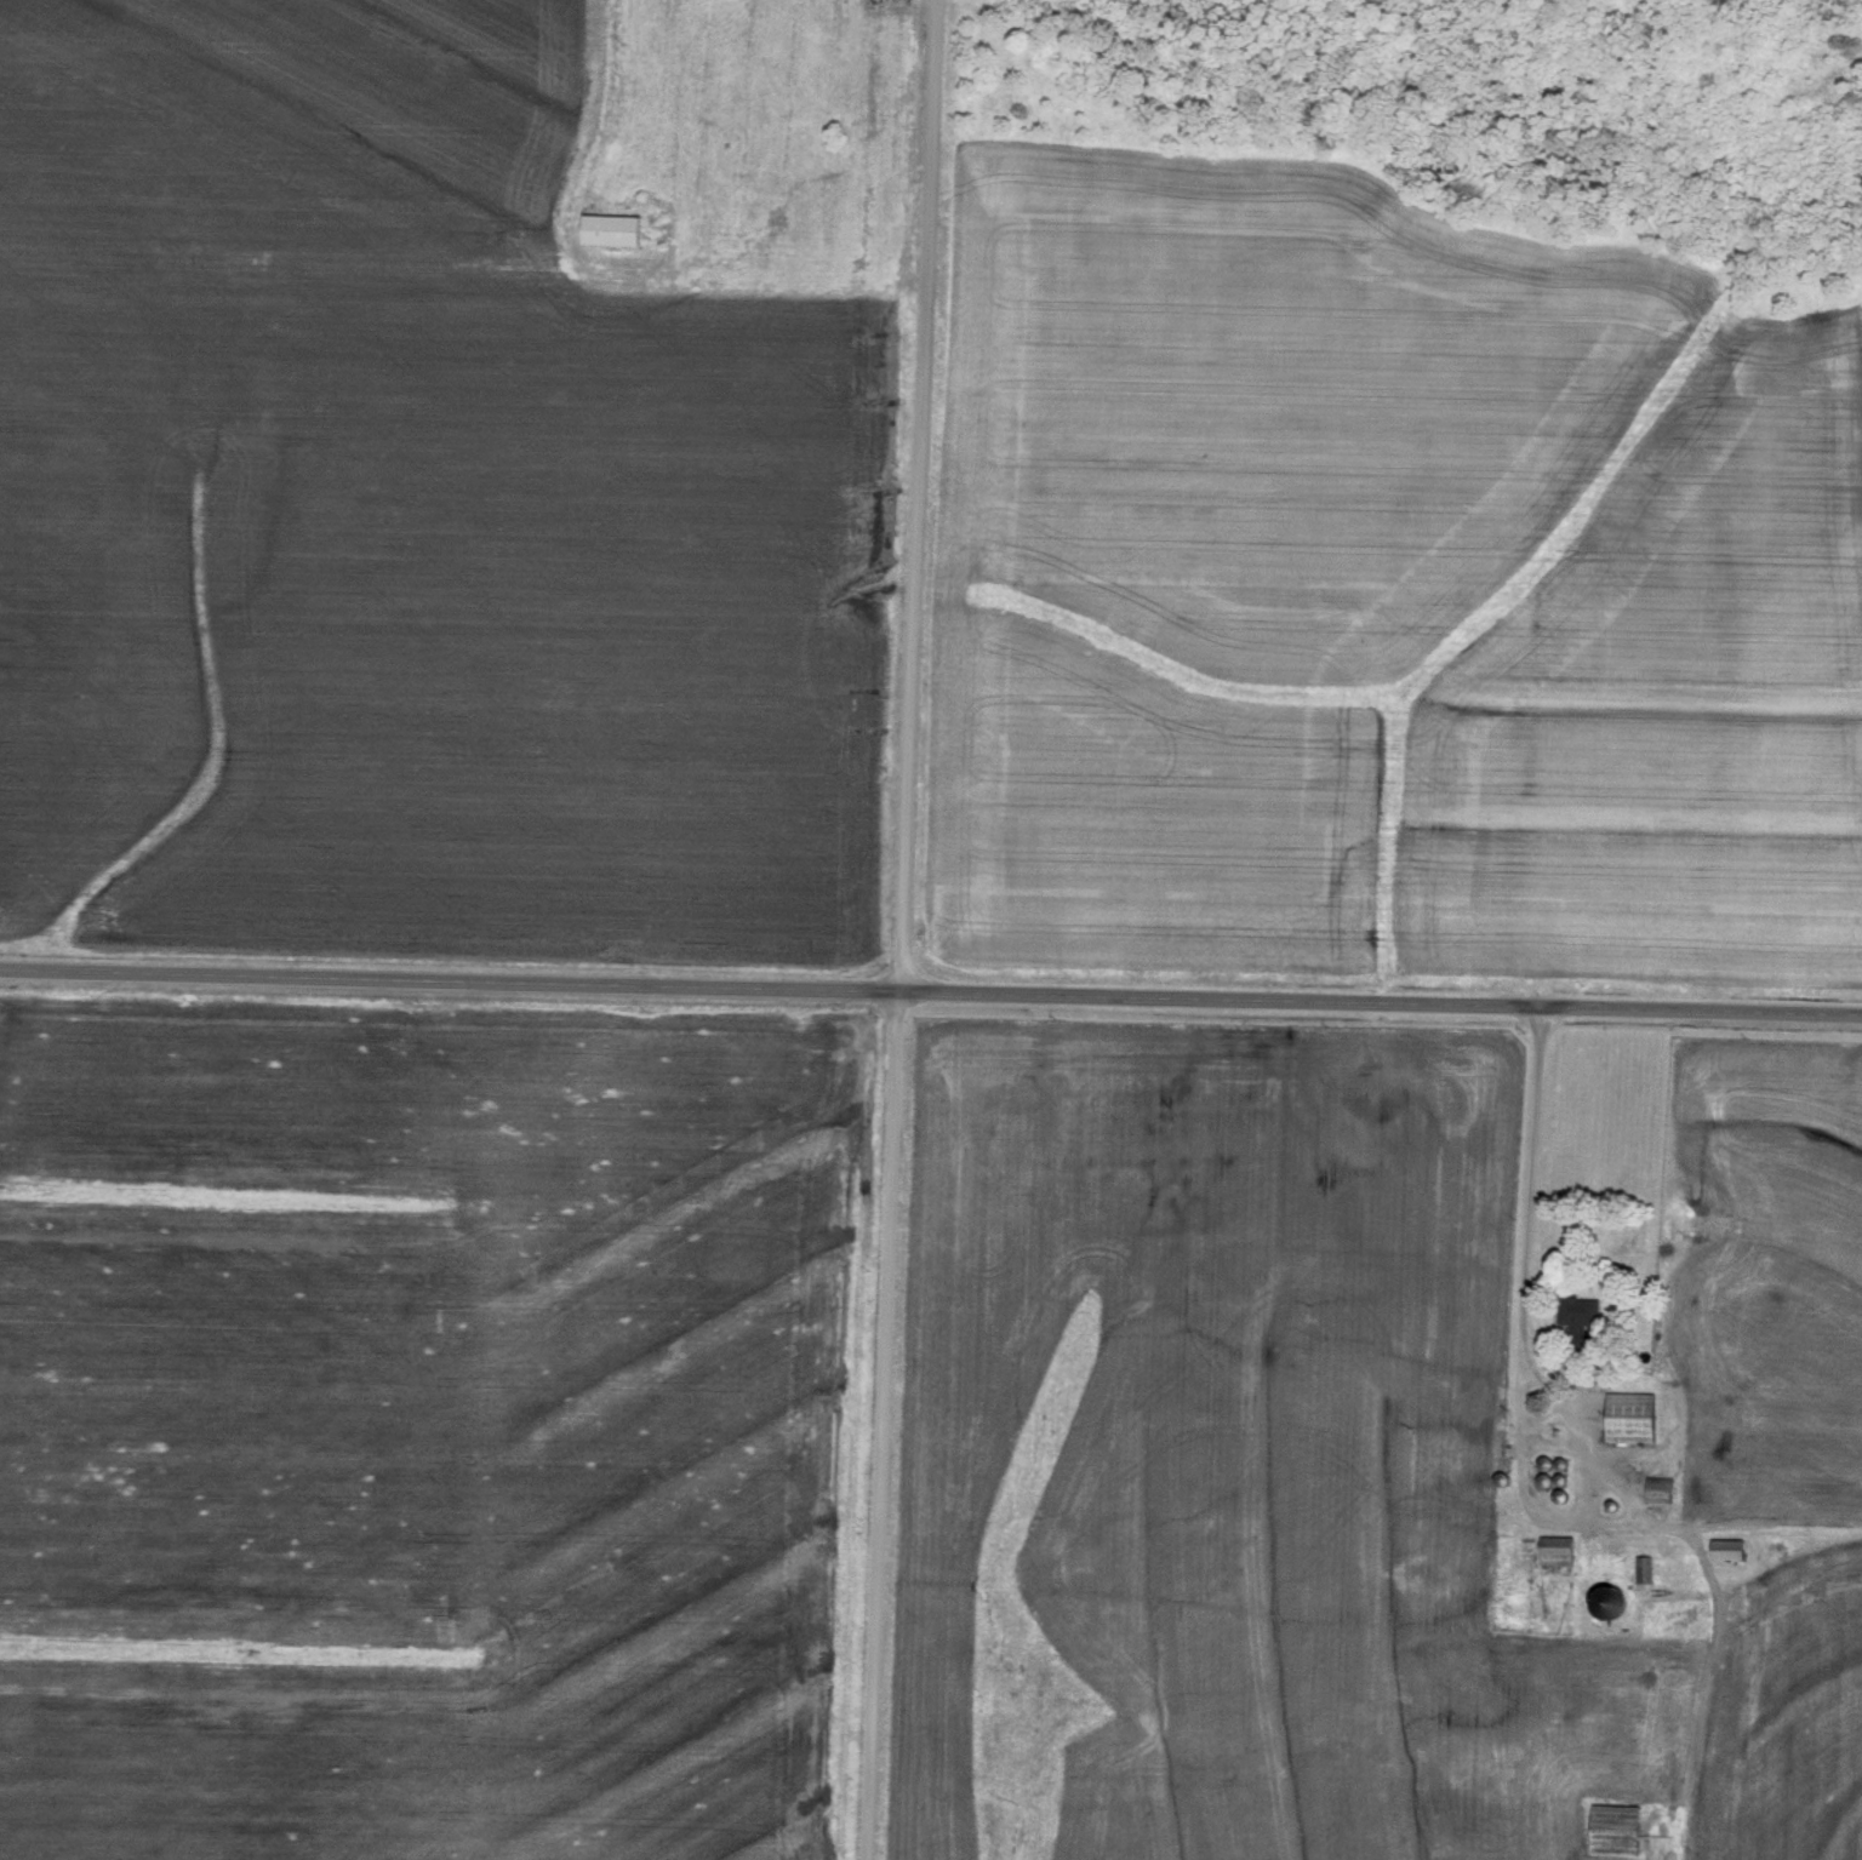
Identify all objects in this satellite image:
building: (611, 230)
road: (896, 929)
road: (931, 992)
building: (1578, 1322)
road: (1519, 1368)
building: (1629, 1419)
building: (1658, 1490)
building: (1555, 1550)
building: (1726, 1550)
building: (1643, 1569)
building: (1615, 1828)

